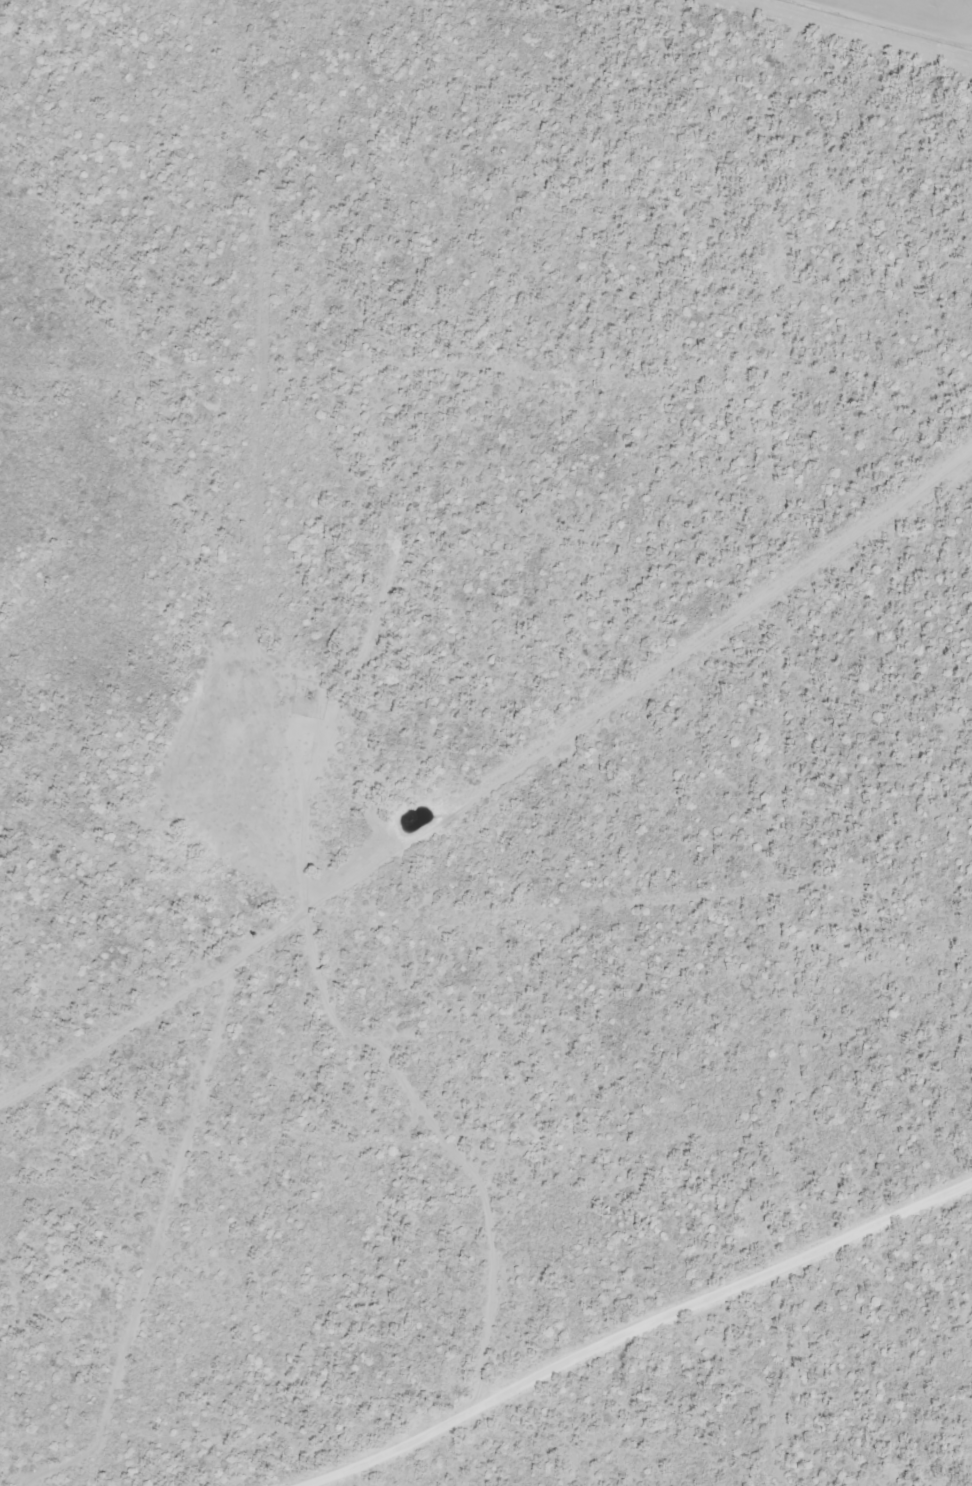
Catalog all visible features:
road: (489, 791)
road: (618, 1327)

